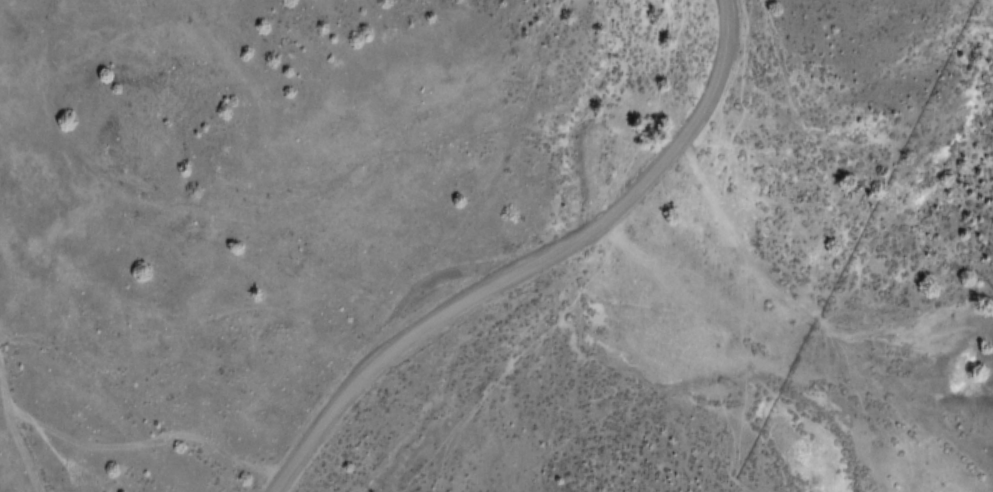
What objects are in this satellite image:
road: (529, 263)
road: (15, 432)

